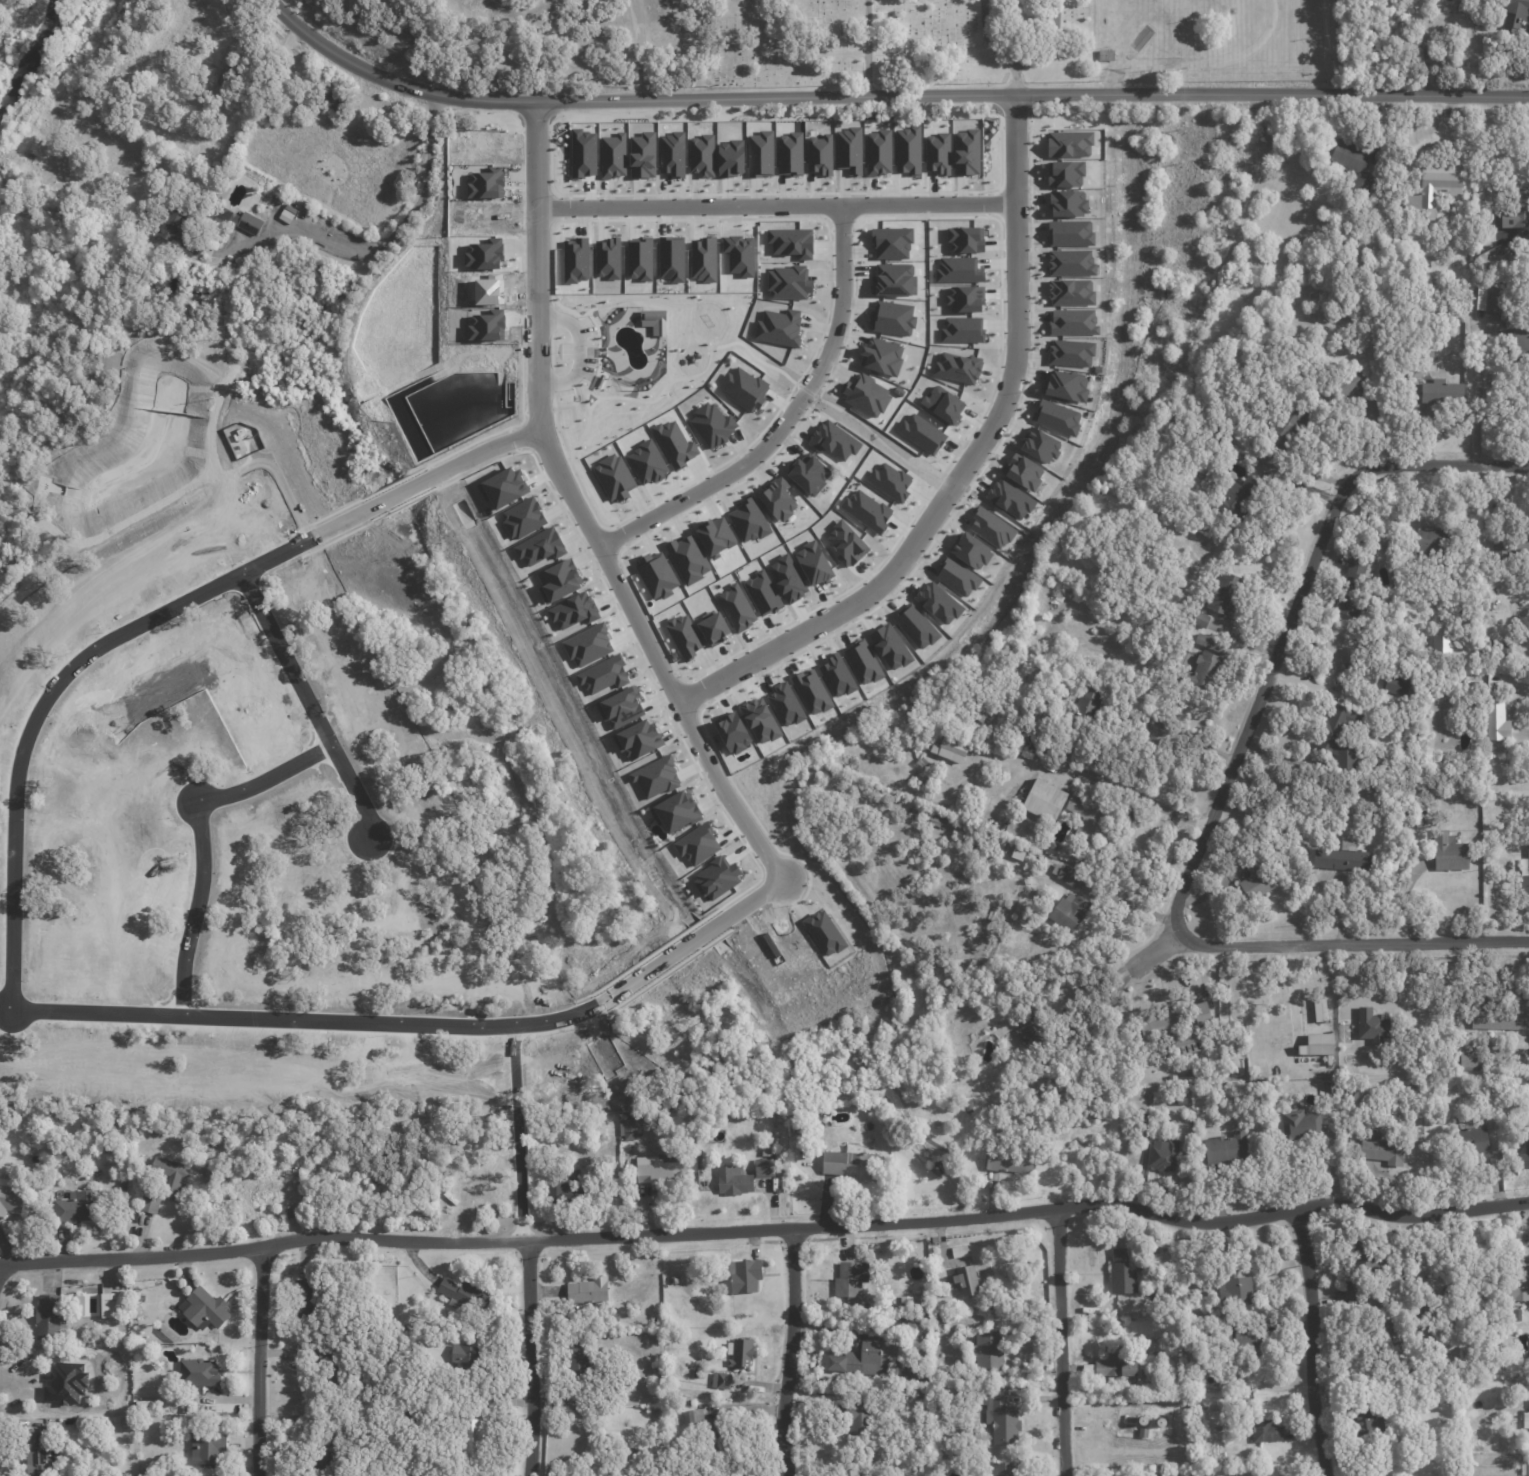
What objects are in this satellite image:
building: (1515, 13)
road: (1042, 36)
park: (899, 41)
road: (866, 48)
road: (637, 49)
road: (997, 50)
building: (1106, 55)
building: (229, 91)
road: (882, 96)
building: (332, 99)
building: (234, 140)
building: (1068, 143)
building: (848, 149)
building: (906, 149)
building: (965, 151)
building: (582, 152)
building: (877, 152)
building: (937, 152)
building: (671, 153)
building: (759, 153)
building: (789, 153)
building: (641, 154)
building: (701, 154)
building: (819, 154)
building: (612, 155)
building: (729, 157)
building: (1354, 163)
building: (1064, 173)
building: (484, 182)
building: (1435, 185)
building: (1066, 202)
road: (776, 205)
building: (1515, 209)
building: (241, 219)
building: (176, 226)
road: (395, 226)
building: (149, 232)
building: (1069, 232)
building: (963, 239)
building: (790, 241)
building: (890, 243)
building: (738, 253)
building: (482, 254)
building: (1490, 255)
building: (606, 258)
building: (670, 258)
building: (638, 259)
building: (702, 259)
building: (574, 260)
building: (1070, 262)
building: (957, 269)
building: (1348, 271)
building: (893, 279)
building: (786, 282)
building: (1070, 291)
building: (1489, 297)
building: (963, 298)
building: (891, 318)
building: (653, 320)
building: (1072, 321)
building: (486, 324)
building: (778, 327)
building: (960, 329)
building: (1521, 339)
road: (577, 350)
building: (1070, 352)
building: (880, 356)
building: (956, 367)
building: (1414, 369)
building: (1065, 385)
building: (1338, 387)
building: (743, 388)
road: (1475, 389)
building: (1443, 392)
building: (865, 395)
building: (942, 404)
building: (1056, 417)
road: (781, 419)
building: (1288, 419)
building: (711, 424)
building: (920, 433)
building: (833, 440)
building: (673, 443)
building: (1039, 445)
building: (645, 462)
road: (969, 468)
road: (1300, 469)
building: (1022, 471)
building: (807, 473)
building: (612, 477)
building: (889, 481)
building: (502, 487)
building: (1238, 495)
building: (777, 498)
building: (1009, 498)
building: (866, 509)
road: (579, 513)
building: (521, 517)
building: (747, 520)
building: (990, 528)
building: (714, 536)
building: (845, 543)
building: (1433, 543)
building: (538, 547)
building: (1510, 547)
building: (969, 551)
building: (687, 558)
building: (812, 563)
building: (655, 575)
building: (956, 577)
building: (786, 578)
building: (556, 580)
building: (1353, 586)
building: (761, 593)
building: (1225, 593)
building: (937, 603)
building: (1490, 605)
building: (735, 606)
building: (571, 611)
road: (1291, 613)
road: (142, 617)
building: (1200, 619)
building: (914, 626)
building: (711, 627)
building: (683, 635)
building: (1210, 643)
building: (1442, 644)
building: (586, 645)
building: (889, 647)
building: (1505, 648)
building: (862, 662)
building: (1343, 665)
building: (1204, 672)
building: (602, 675)
building: (835, 676)
building: (1395, 684)
building: (810, 691)
road: (310, 697)
building: (784, 704)
building: (619, 707)
building: (987, 707)
building: (1086, 707)
building: (1163, 716)
building: (758, 720)
building: (1497, 720)
building: (731, 732)
building: (1340, 737)
building: (636, 740)
building: (947, 749)
road: (1283, 758)
building: (654, 777)
building: (1491, 797)
building: (1044, 800)
road: (1150, 807)
building: (1423, 810)
building: (674, 812)
building: (1087, 815)
building: (937, 817)
building: (1420, 817)
building: (1421, 825)
road: (203, 831)
building: (696, 844)
building: (1450, 852)
building: (1342, 859)
building: (33, 861)
building: (477, 869)
building: (49, 874)
building: (1525, 875)
building: (1070, 876)
building: (165, 878)
building: (715, 878)
building: (1256, 878)
road: (1133, 908)
building: (1069, 912)
building: (822, 933)
road: (1353, 937)
road: (1157, 945)
road: (1091, 985)
building: (1023, 987)
building: (1030, 1007)
building: (1523, 1010)
road: (416, 1014)
building: (1371, 1025)
building: (1178, 1028)
building: (1035, 1035)
building: (1316, 1044)
building: (1466, 1060)
building: (1190, 1073)
building: (1172, 1079)
building: (1329, 1087)
building: (1357, 1095)
building: (1182, 1101)
building: (655, 1115)
building: (645, 1117)
building: (1467, 1117)
building: (1301, 1125)
building: (1352, 1126)
building: (799, 1128)
building: (628, 1129)
building: (109, 1130)
building: (1353, 1133)
building: (665, 1139)
building: (1475, 1142)
building: (90, 1148)
building: (1525, 1148)
building: (1227, 1149)
building: (1382, 1150)
building: (769, 1153)
building: (806, 1155)
building: (1497, 1156)
building: (1164, 1157)
building: (1009, 1162)
building: (1377, 1165)
building: (851, 1166)
building: (764, 1168)
building: (659, 1173)
building: (299, 1174)
building: (733, 1181)
building: (171, 1186)
building: (121, 1190)
building: (570, 1192)
building: (12, 1200)
building: (76, 1207)
road: (766, 1222)
building: (934, 1238)
road: (526, 1246)
building: (961, 1251)
building: (1361, 1267)
building: (1172, 1271)
building: (1123, 1272)
building: (744, 1275)
building: (964, 1280)
building: (1519, 1282)
building: (852, 1283)
building: (587, 1290)
building: (1234, 1290)
building: (462, 1294)
building: (140, 1297)
building: (305, 1299)
building: (1452, 1299)
building: (923, 1302)
building: (111, 1305)
building: (907, 1306)
building: (204, 1309)
building: (1518, 1316)
building: (53, 1318)
building: (908, 1319)
building: (938, 1319)
building: (481, 1334)
building: (121, 1335)
building: (1389, 1337)
road: (1063, 1338)
road: (1313, 1338)
building: (1139, 1340)
building: (1242, 1341)
road: (790, 1349)
building: (987, 1350)
building: (920, 1351)
building: (740, 1352)
building: (864, 1356)
road: (261, 1357)
building: (578, 1358)
building: (464, 1359)
building: (897, 1363)
building: (334, 1365)
building: (1114, 1365)
building: (197, 1372)
building: (698, 1372)
building: (1175, 1373)
building: (915, 1375)
building: (660, 1378)
building: (720, 1380)
building: (1244, 1395)
building: (1446, 1397)
building: (141, 1403)
building: (674, 1407)
building: (407, 1416)
building: (1000, 1418)
building: (1131, 1420)
building: (1526, 1421)
building: (856, 1422)
building: (1368, 1422)
building: (1265, 1429)
building: (710, 1430)
building: (1143, 1434)
building: (468, 1443)
building: (205, 1445)
building: (1373, 1450)
building: (45, 1454)
building: (324, 1454)
building: (1004, 1469)
building: (849, 1471)
building: (149, 1472)
building: (1142, 1475)

